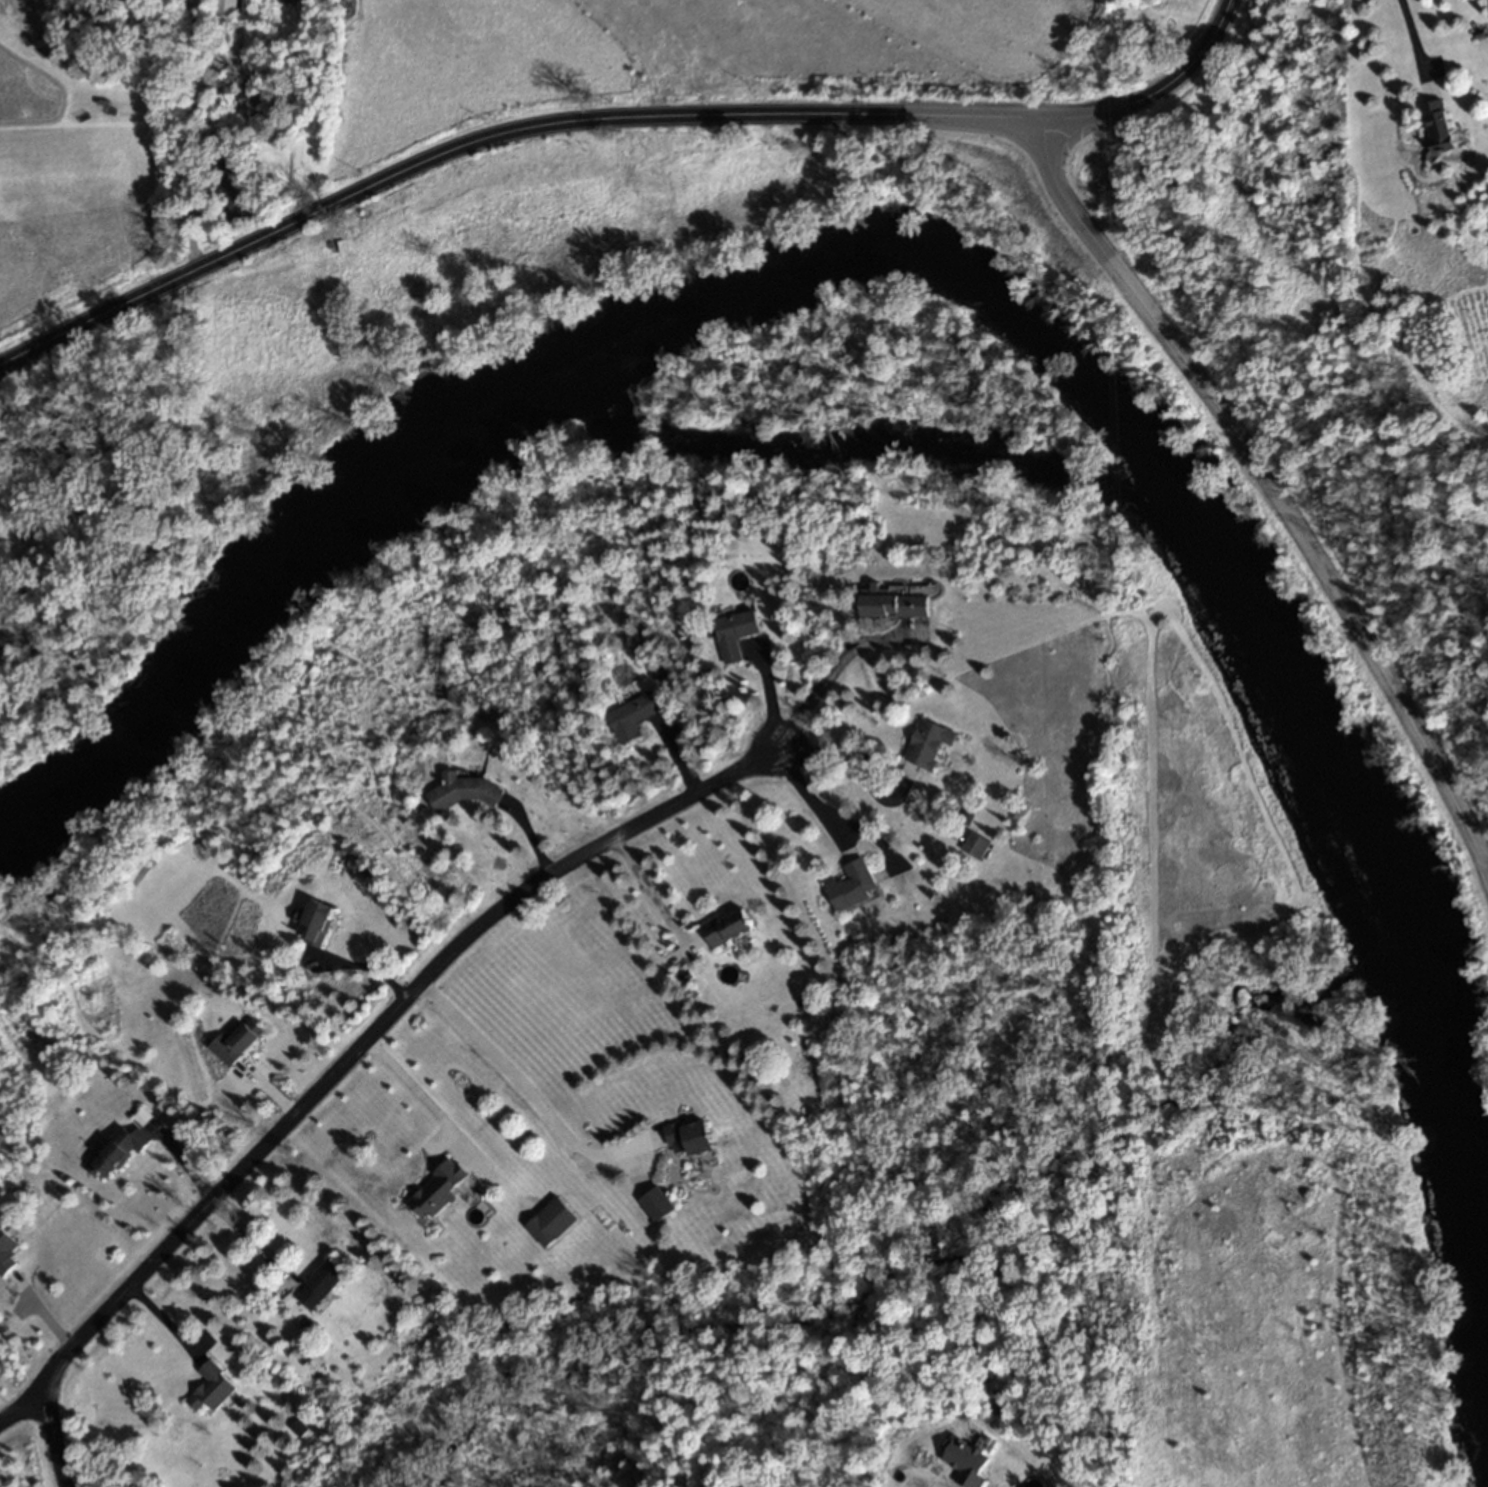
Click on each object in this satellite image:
building: (169, 3)
building: (193, 4)
building: (225, 6)
road: (1413, 32)
road: (1162, 90)
building: (230, 91)
building: (251, 102)
building: (1439, 125)
road: (497, 130)
river: (990, 301)
road: (1267, 467)
building: (892, 603)
building: (733, 633)
road: (831, 671)
building: (630, 716)
building: (927, 743)
building: (465, 791)
road: (809, 794)
building: (973, 845)
building: (850, 885)
road: (651, 888)
building: (314, 923)
building: (727, 927)
building: (237, 1044)
road: (336, 1061)
road: (523, 1078)
road: (416, 1086)
building: (690, 1137)
building: (117, 1151)
building: (436, 1190)
building: (657, 1204)
building: (551, 1223)
road: (250, 1241)
building: (6, 1248)
building: (320, 1283)
road: (163, 1324)
building: (212, 1387)
road: (22, 1405)

